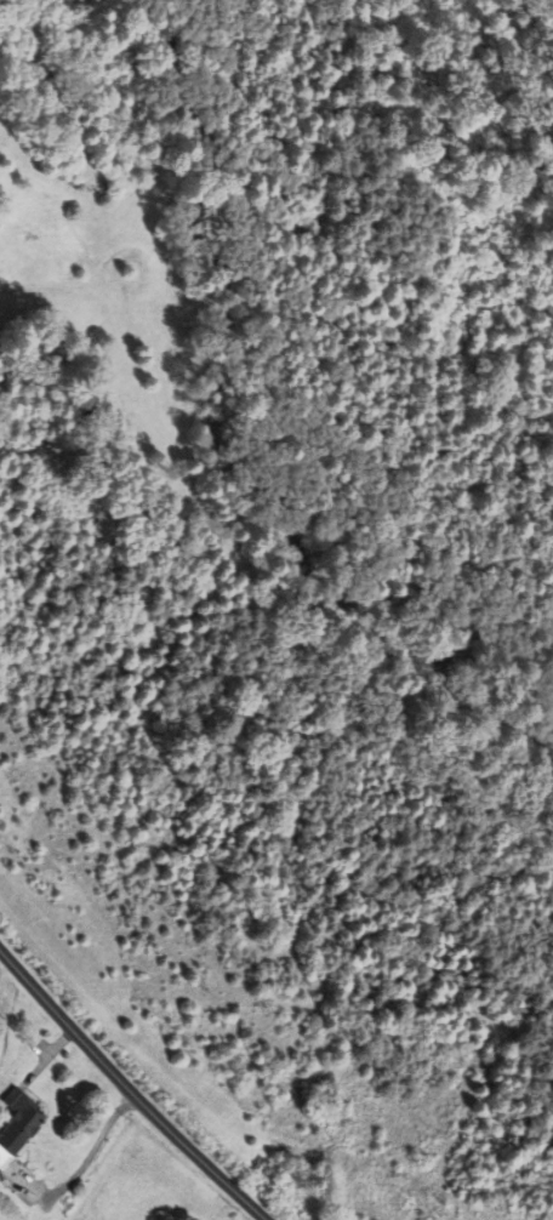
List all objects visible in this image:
road: (127, 1089)
building: (18, 1124)
road: (86, 1162)

